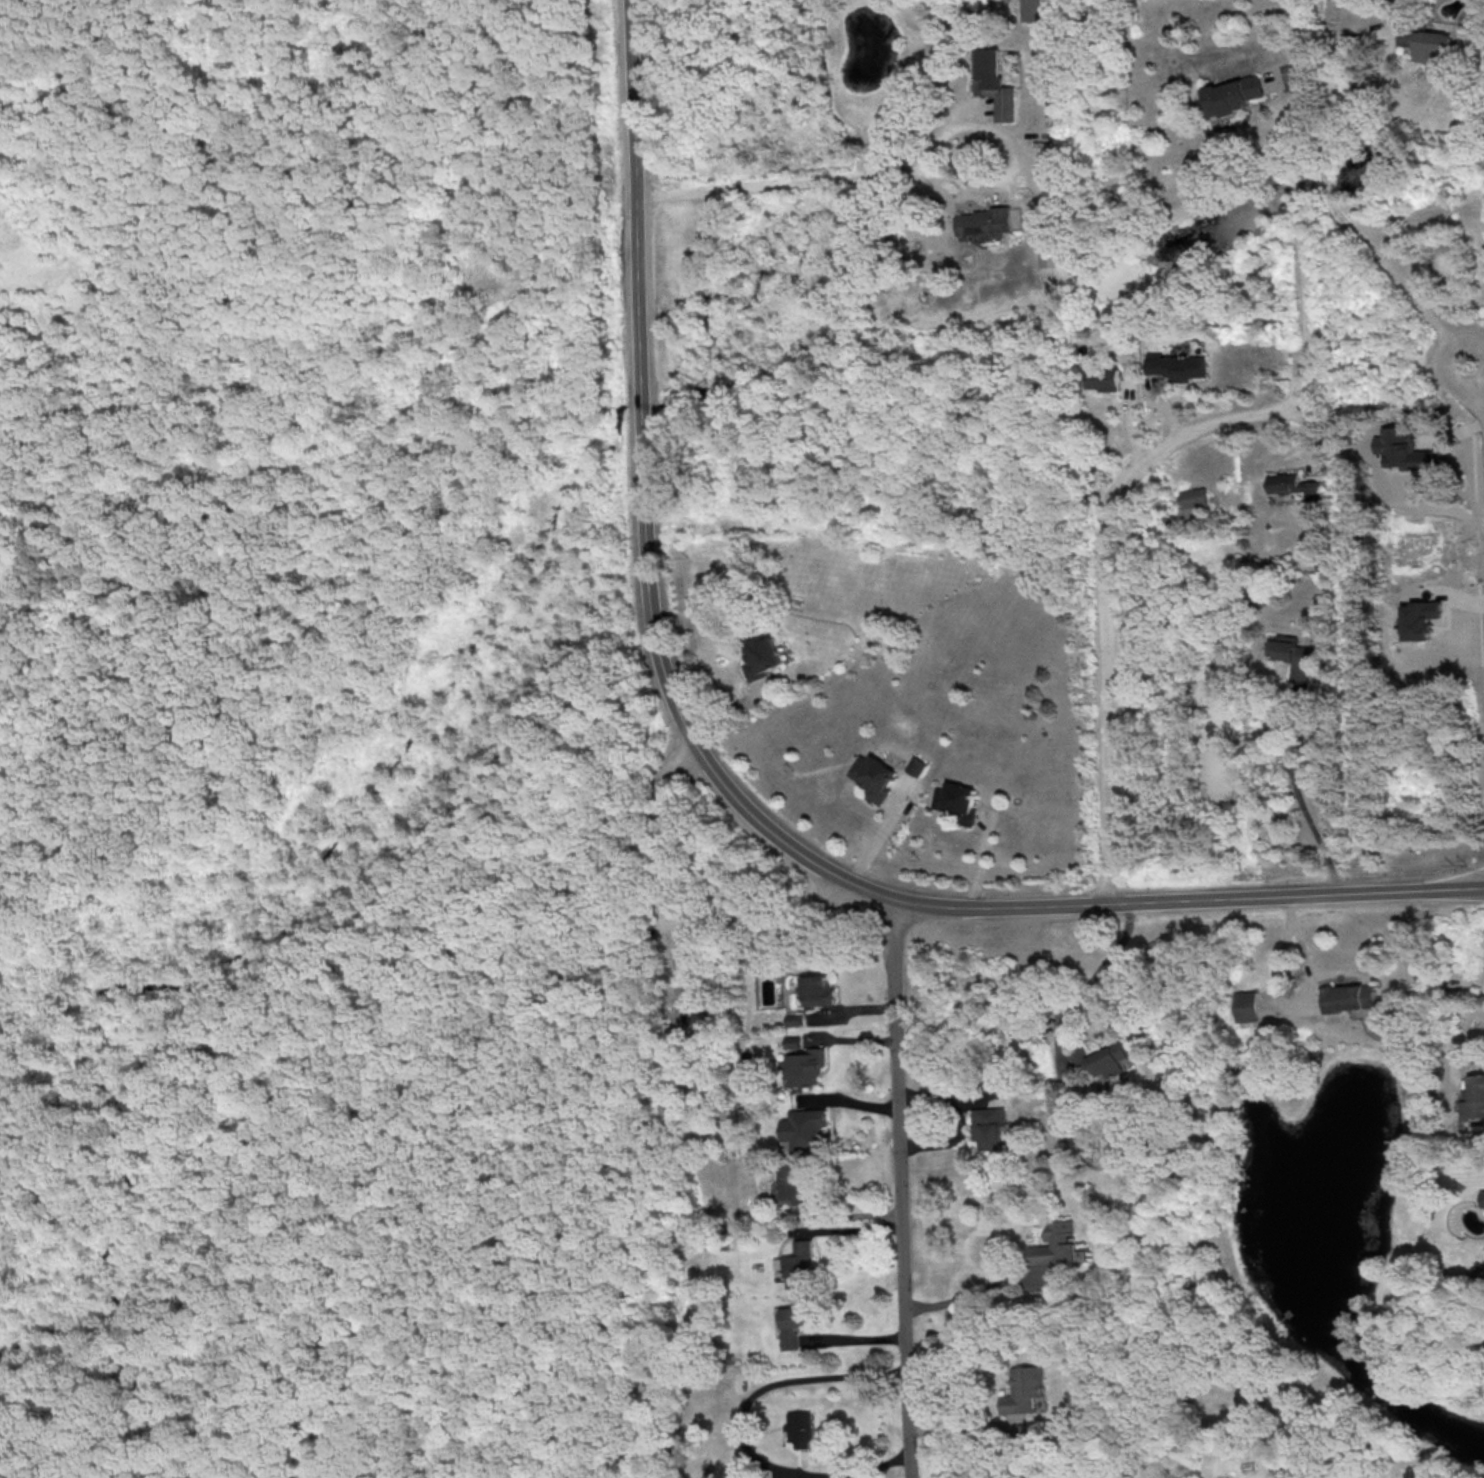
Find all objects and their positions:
building: (1033, 10)
building: (1429, 45)
building: (997, 83)
building: (1234, 95)
road: (1323, 151)
road: (829, 178)
building: (990, 221)
building: (1049, 253)
building: (1175, 365)
building: (1103, 378)
road: (1476, 380)
building: (1404, 449)
road: (1145, 463)
building: (1293, 485)
building: (1192, 502)
building: (1419, 619)
building: (1291, 655)
building: (763, 657)
park: (323, 753)
building: (914, 766)
building: (872, 776)
road: (723, 782)
building: (955, 801)
road: (1303, 805)
road: (154, 849)
road: (438, 894)
road: (276, 920)
road: (665, 922)
road: (620, 951)
parking lot: (569, 966)
road: (1097, 973)
building: (817, 989)
building: (1349, 996)
building: (1247, 1005)
building: (794, 1019)
building: (1100, 1059)
building: (805, 1067)
building: (1473, 1097)
road: (849, 1099)
building: (803, 1128)
building: (990, 1128)
building: (789, 1182)
road: (899, 1187)
road: (270, 1195)
building: (1482, 1197)
road: (855, 1212)
parking lot: (259, 1220)
road: (259, 1221)
road: (849, 1228)
building: (1057, 1245)
building: (798, 1259)
road: (964, 1295)
building: (794, 1324)
road: (854, 1337)
road: (363, 1342)
parking lot: (147, 1364)
road: (142, 1370)
building: (1023, 1389)
road: (245, 1416)
road: (738, 1427)
building: (799, 1428)
road: (962, 1428)

